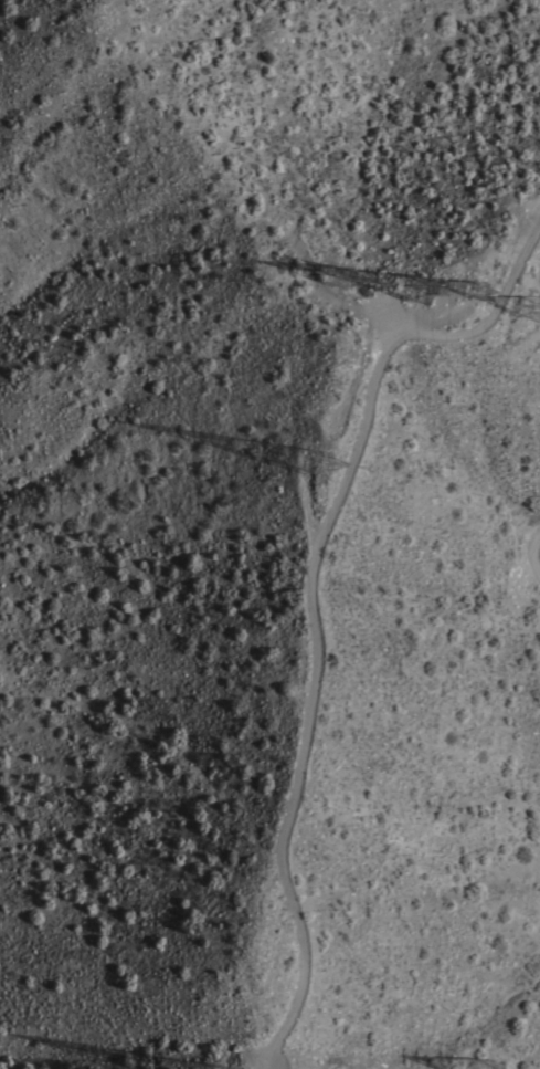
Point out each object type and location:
power tower: (354, 281)
power tower: (432, 284)
power tower: (484, 298)
power tower: (538, 312)
power tower: (324, 471)
road: (306, 587)

